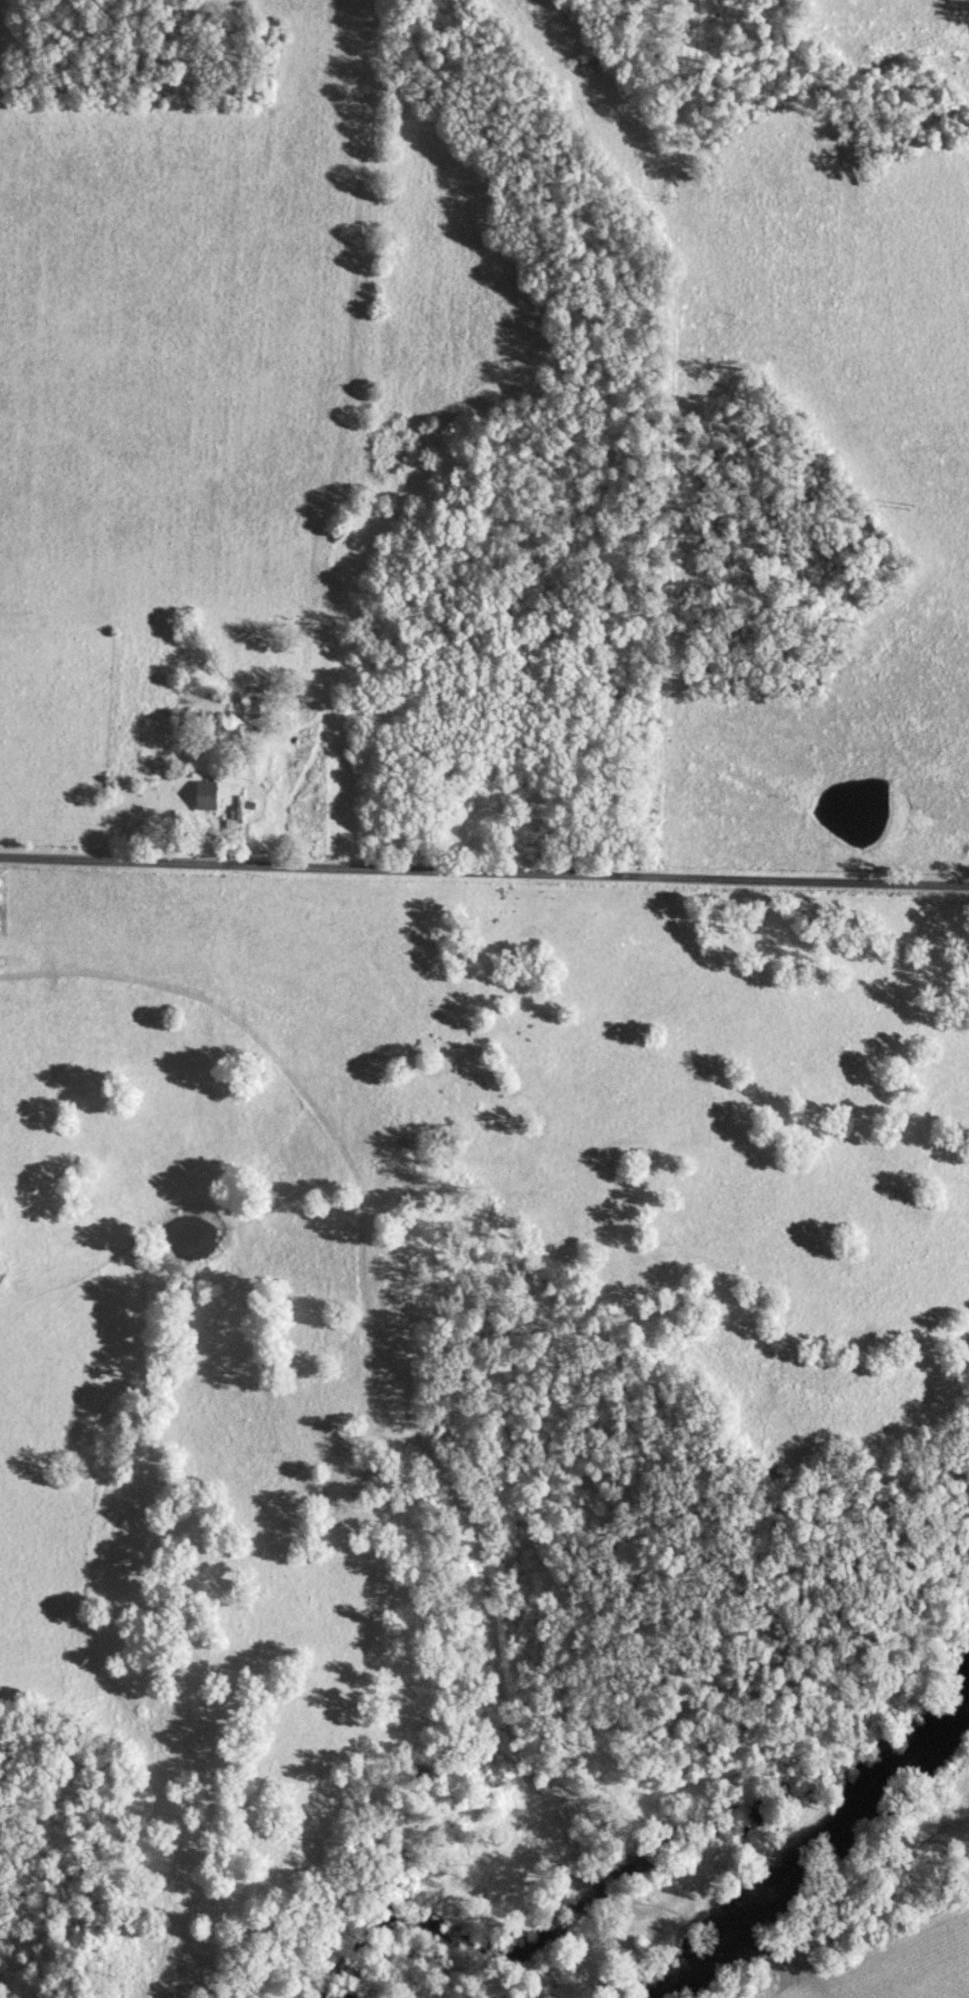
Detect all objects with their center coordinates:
building: (253, 706)
building: (208, 793)
building: (248, 805)
road: (484, 870)

